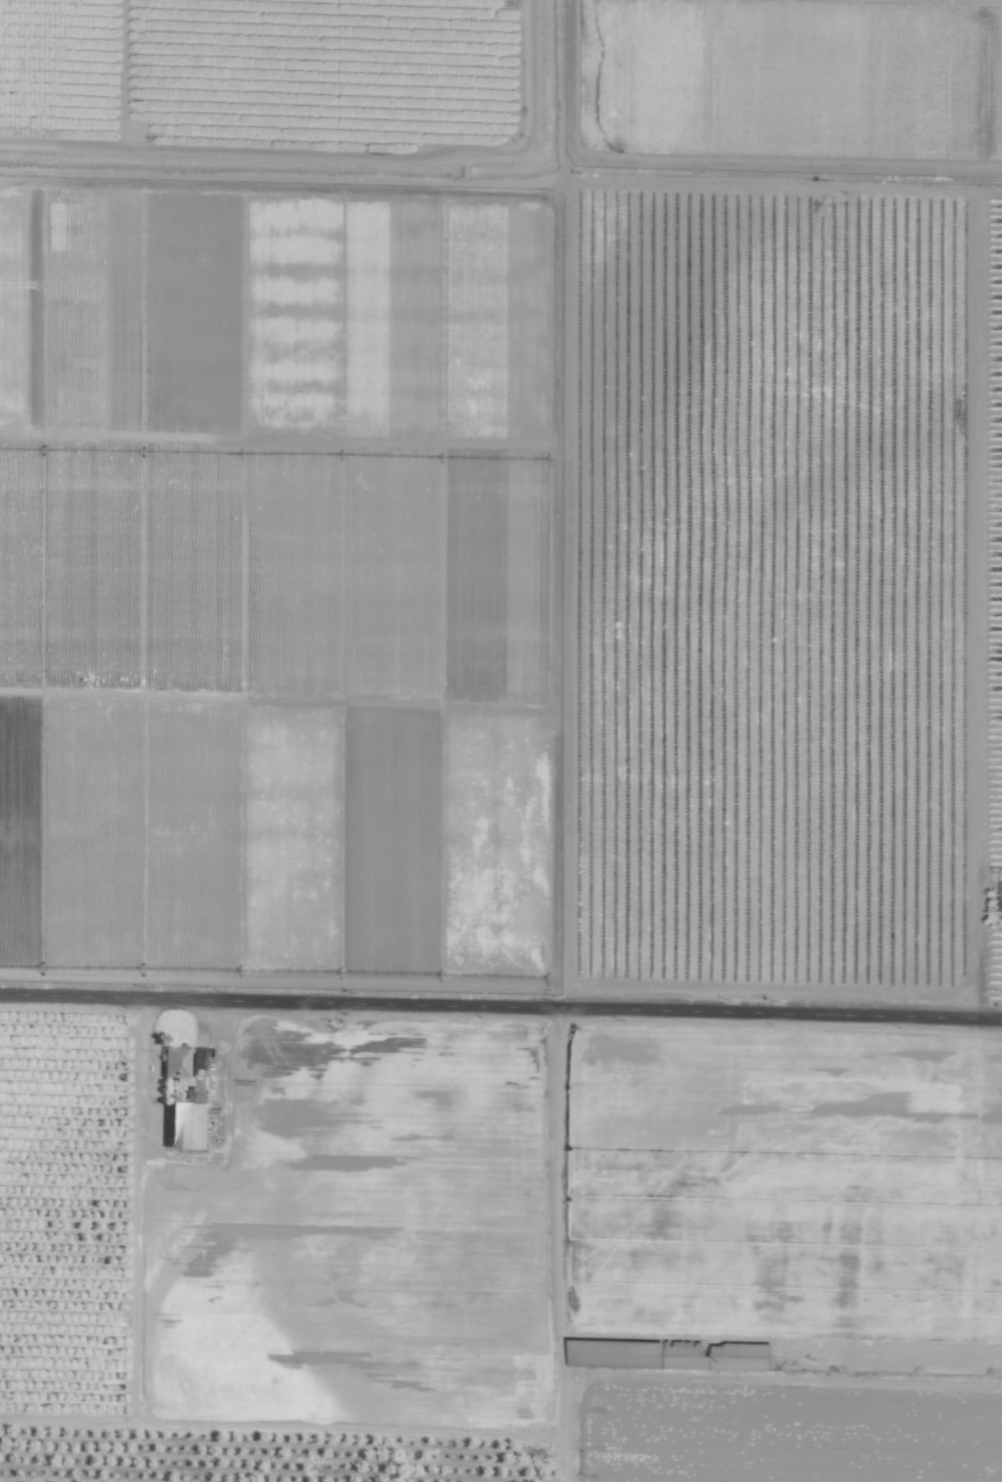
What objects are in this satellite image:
crop: (501, 741)
building: (1001, 887)
road: (980, 949)
road: (501, 995)
road: (205, 1014)
building: (173, 1061)
road: (555, 1175)
building: (673, 1355)

